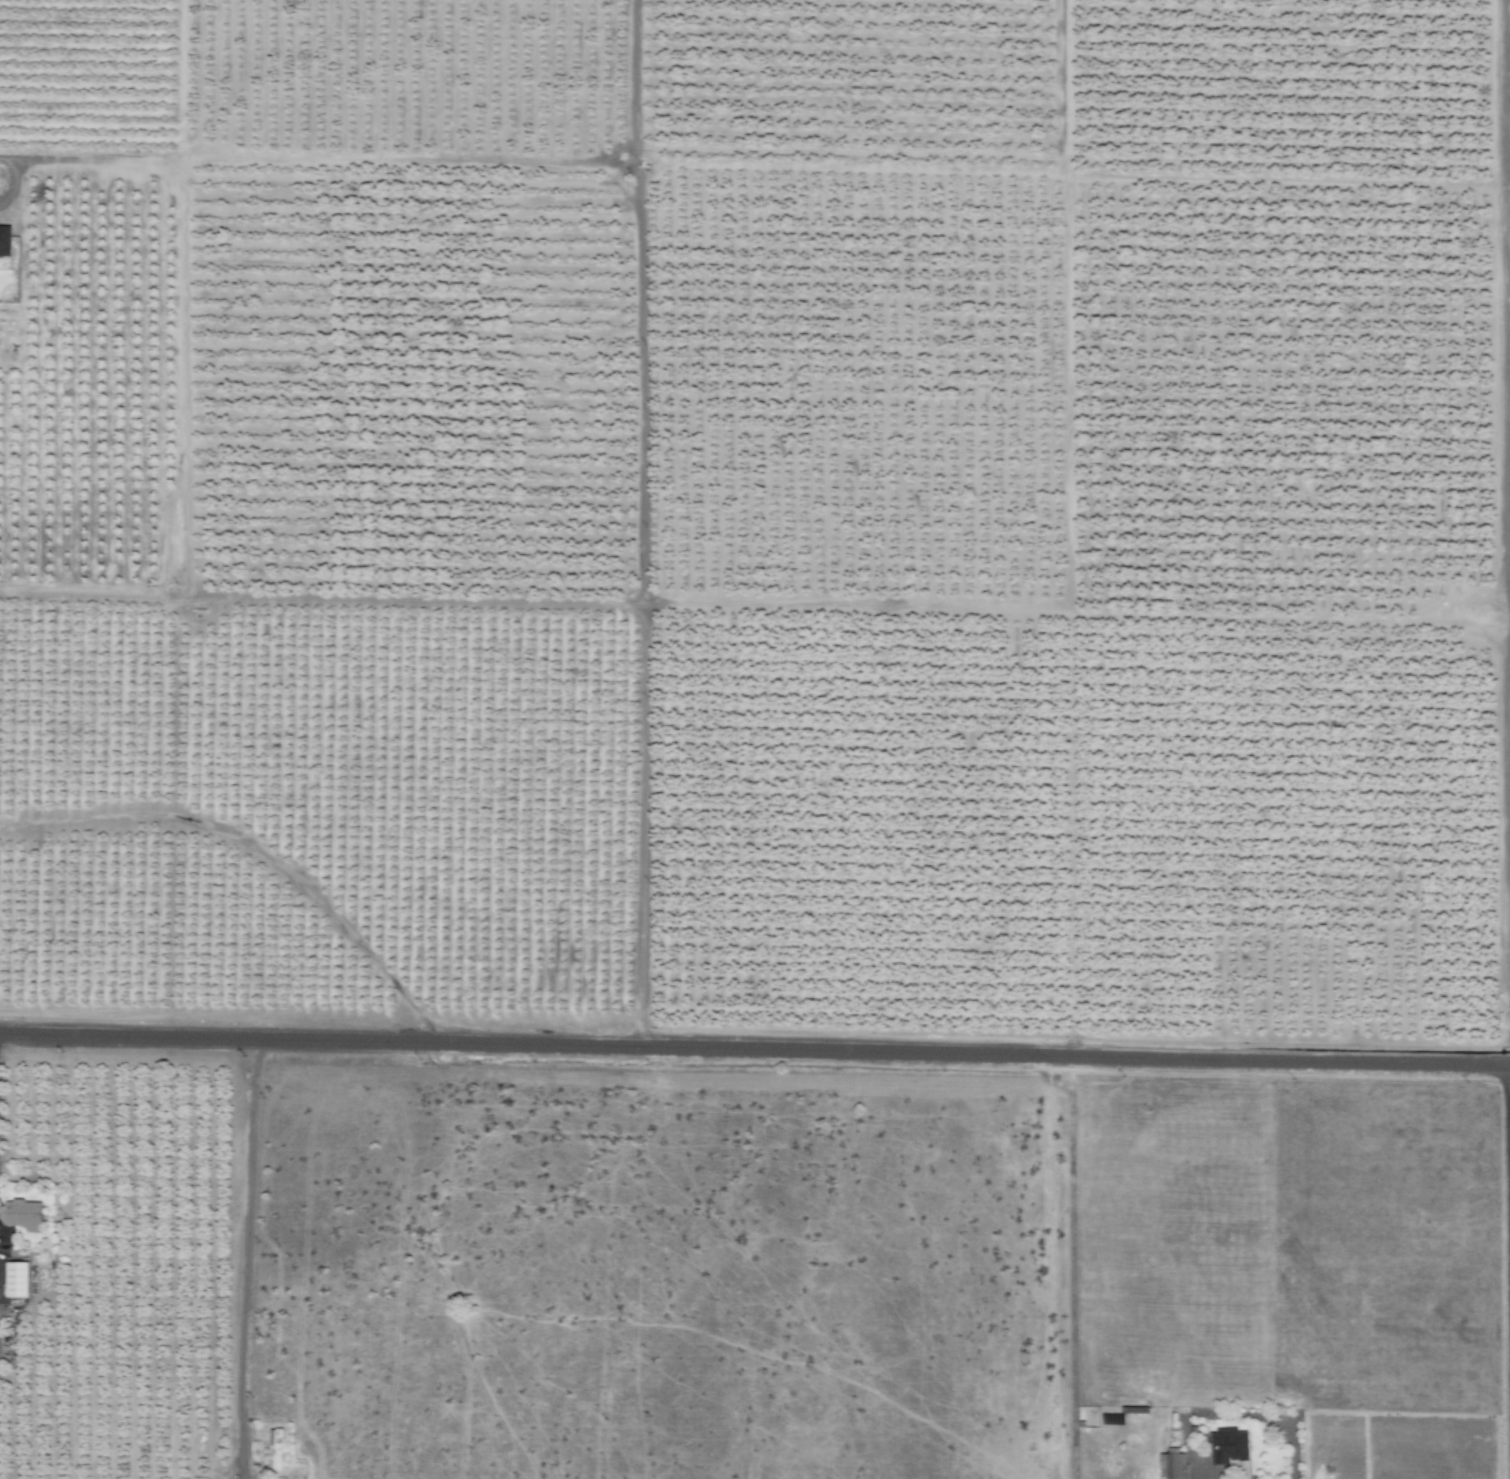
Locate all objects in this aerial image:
road: (12, 181)
building: (4, 241)
road: (1507, 455)
road: (755, 1047)
building: (20, 1215)
building: (13, 1279)
road: (1257, 1416)
building: (1228, 1446)
building: (274, 1449)
building: (1171, 1466)
road: (1200, 1470)

